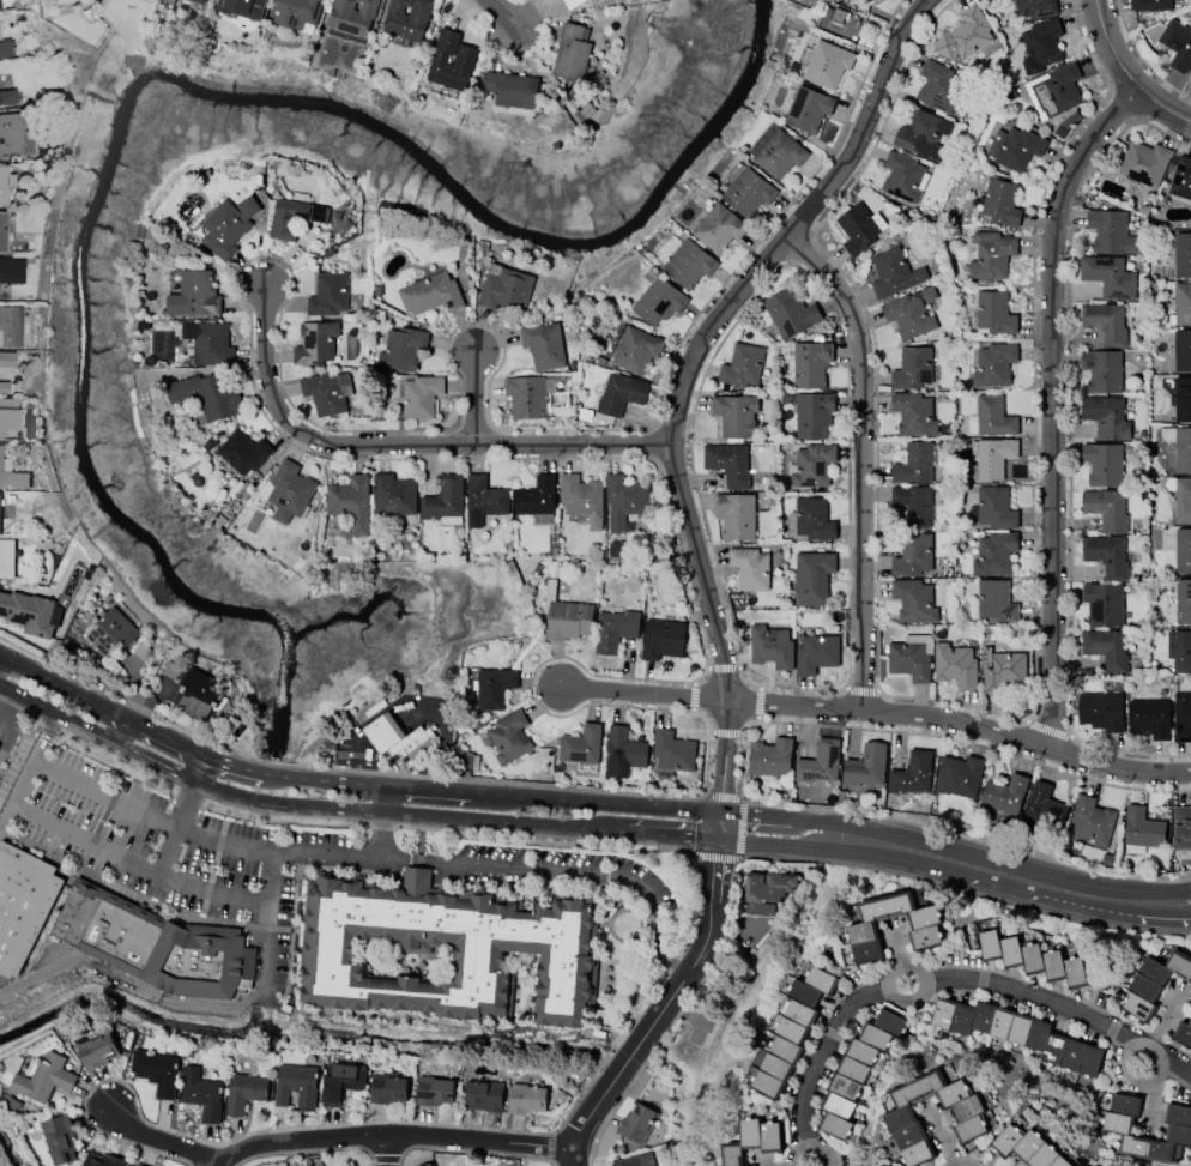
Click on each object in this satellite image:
building: (869, 0)
building: (199, 1)
building: (594, 1)
building: (573, 2)
building: (1150, 5)
building: (242, 7)
building: (1035, 7)
road: (498, 11)
building: (295, 12)
building: (352, 16)
building: (407, 18)
building: (841, 22)
building: (965, 35)
building: (1041, 43)
building: (1178, 44)
building: (6, 48)
building: (572, 53)
building: (452, 60)
building: (824, 61)
building: (1190, 77)
road: (1120, 78)
building: (939, 86)
building: (510, 89)
building: (1054, 90)
building: (7, 93)
building: (806, 107)
building: (11, 135)
building: (921, 135)
building: (1015, 147)
building: (780, 153)
building: (1145, 162)
building: (902, 176)
building: (1181, 177)
building: (5, 185)
building: (749, 191)
building: (1000, 203)
building: (292, 217)
building: (718, 224)
building: (228, 225)
building: (859, 228)
building: (4, 231)
building: (1111, 231)
building: (991, 254)
building: (1183, 254)
building: (690, 262)
building: (12, 271)
building: (894, 273)
building: (1108, 276)
building: (504, 288)
building: (194, 294)
building: (328, 294)
building: (430, 294)
building: (659, 298)
building: (1183, 303)
building: (994, 312)
building: (790, 313)
building: (911, 313)
building: (1106, 321)
building: (10, 326)
building: (208, 342)
building: (315, 343)
building: (543, 344)
building: (403, 348)
building: (636, 349)
building: (1181, 350)
building: (811, 363)
building: (994, 364)
building: (742, 365)
building: (913, 367)
building: (1102, 369)
road: (683, 375)
building: (5, 387)
building: (326, 392)
building: (619, 393)
building: (208, 394)
building: (421, 395)
building: (527, 395)
road: (474, 399)
building: (1183, 399)
building: (6, 401)
road: (1050, 405)
building: (812, 413)
building: (914, 413)
building: (736, 415)
building: (991, 417)
building: (1107, 417)
building: (7, 421)
road: (404, 445)
building: (1179, 446)
building: (243, 451)
building: (992, 455)
road: (860, 459)
building: (728, 463)
building: (914, 463)
building: (1104, 463)
building: (4, 464)
building: (810, 464)
building: (289, 491)
building: (393, 494)
building: (1180, 497)
building: (484, 499)
building: (538, 499)
building: (582, 499)
building: (445, 500)
building: (624, 500)
building: (351, 501)
building: (914, 503)
building: (0, 506)
building: (996, 507)
building: (1106, 507)
building: (736, 514)
building: (811, 519)
building: (617, 549)
building: (1183, 550)
building: (994, 552)
building: (1107, 554)
building: (913, 555)
building: (7, 557)
building: (750, 567)
building: (812, 576)
building: (914, 600)
building: (996, 600)
building: (1183, 600)
building: (1104, 603)
building: (30, 611)
building: (566, 615)
building: (615, 629)
building: (111, 630)
building: (663, 639)
building: (772, 646)
building: (1106, 647)
building: (1179, 650)
building: (143, 651)
building: (816, 653)
building: (911, 657)
building: (955, 664)
building: (171, 669)
building: (1002, 669)
road: (60, 687)
building: (495, 687)
building: (200, 693)
road: (413, 695)
road: (25, 697)
road: (5, 702)
building: (1101, 711)
road: (877, 713)
building: (1183, 715)
building: (1149, 718)
road: (80, 725)
road: (116, 727)
road: (7, 733)
road: (42, 733)
road: (161, 736)
building: (399, 737)
building: (510, 737)
building: (581, 747)
building: (672, 750)
building: (624, 751)
building: (772, 757)
road: (151, 759)
building: (820, 763)
building: (865, 766)
road: (197, 767)
building: (912, 773)
road: (276, 774)
building: (960, 775)
road: (370, 783)
road: (411, 787)
road: (17, 790)
building: (1005, 793)
road: (385, 798)
road: (578, 802)
road: (286, 803)
building: (1045, 806)
traffic signals: (718, 814)
road: (150, 815)
road: (782, 820)
building: (1092, 820)
road: (550, 827)
road: (717, 827)
building: (1181, 827)
road: (177, 828)
building: (1143, 828)
road: (382, 833)
traffic signals: (715, 841)
road: (780, 847)
road: (328, 851)
road: (135, 864)
road: (563, 868)
road: (1016, 877)
building: (768, 886)
building: (23, 902)
building: (758, 908)
building: (861, 928)
building: (151, 943)
building: (440, 948)
building: (1033, 959)
road: (942, 979)
building: (1154, 983)
road: (194, 1001)
road: (658, 1010)
building: (793, 1029)
building: (1018, 1033)
building: (1183, 1033)
building: (97, 1050)
building: (857, 1070)
building: (156, 1071)
building: (40, 1076)
building: (341, 1081)
building: (296, 1083)
building: (388, 1088)
building: (435, 1089)
building: (244, 1092)
building: (201, 1094)
building: (484, 1095)
building: (527, 1096)
building: (12, 1104)
building: (901, 1118)
building: (637, 1122)
building: (1116, 1126)
building: (60, 1137)
road: (328, 1138)
building: (754, 1140)
building: (1028, 1148)
road: (388, 1152)
building: (103, 1160)
building: (637, 1160)
building: (139, 1165)
road: (213, 1165)
building: (430, 1165)

